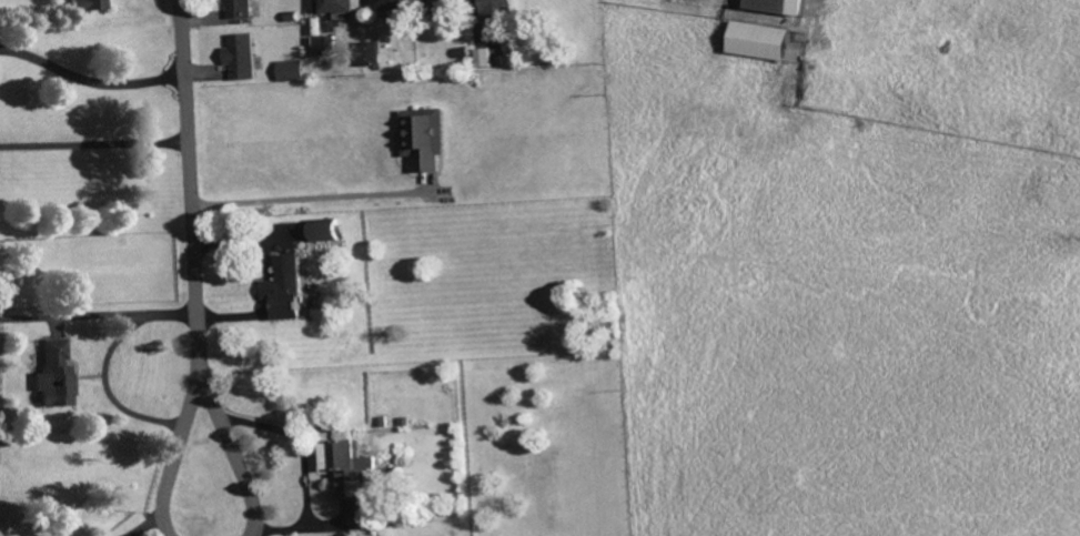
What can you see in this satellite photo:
building: (438, 3)
building: (90, 4)
building: (393, 6)
building: (340, 7)
building: (780, 7)
building: (240, 9)
building: (498, 10)
building: (760, 41)
building: (325, 47)
building: (374, 54)
building: (242, 57)
building: (484, 58)
building: (291, 71)
road: (92, 82)
building: (425, 135)
road: (97, 144)
road: (195, 178)
road: (311, 198)
building: (325, 229)
building: (286, 285)
road: (108, 364)
building: (55, 375)
road: (234, 445)
road: (180, 446)
building: (349, 466)

